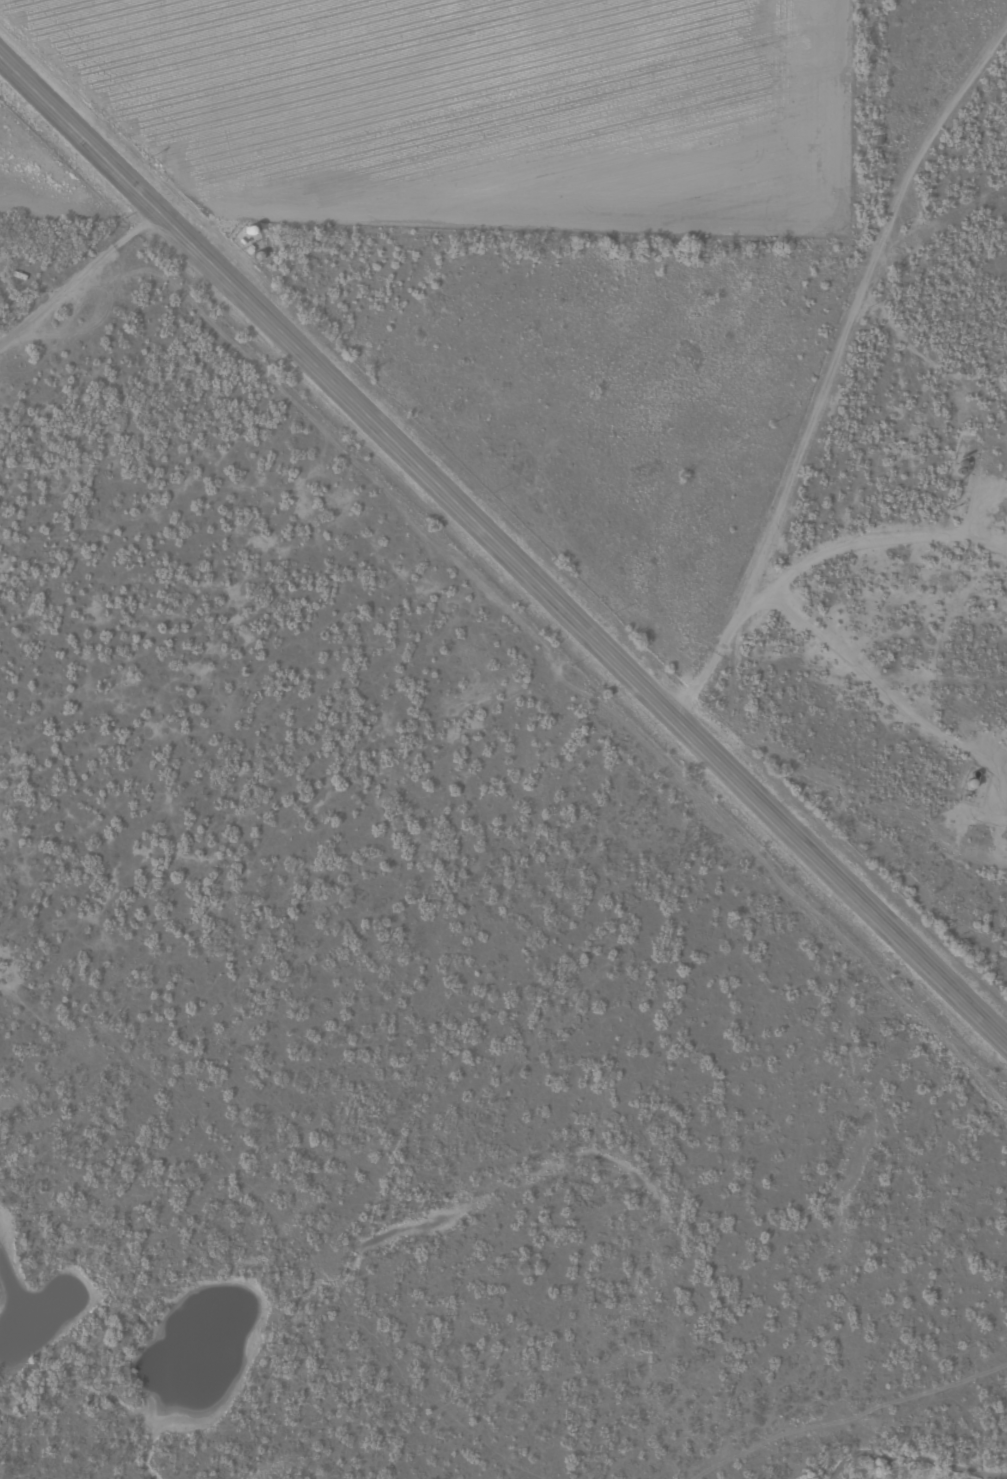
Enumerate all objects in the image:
water tower: (256, 244)
road: (86, 294)
road: (850, 390)
road: (503, 546)

